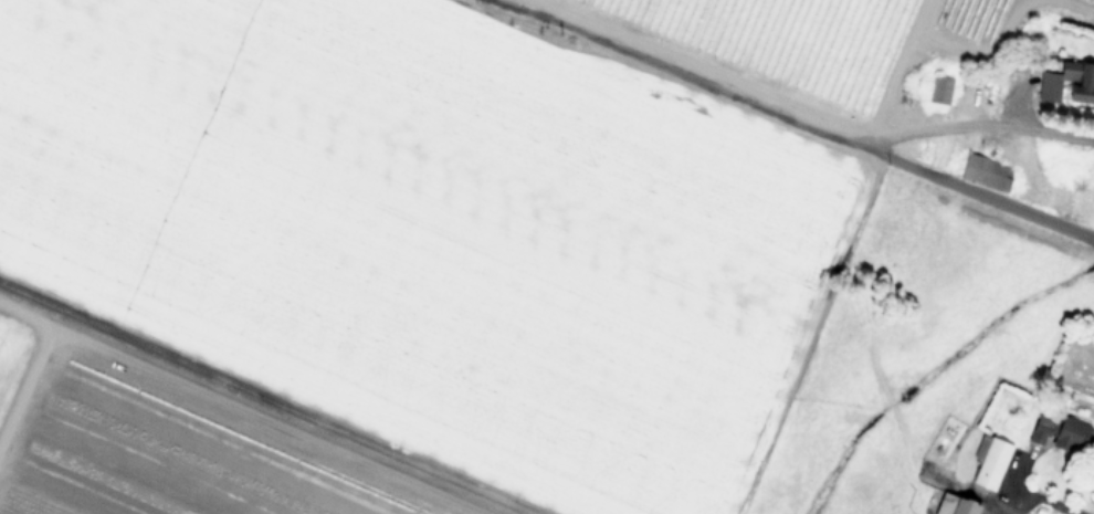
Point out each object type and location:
building: (803, 49)
building: (1067, 84)
building: (939, 90)
road: (789, 106)
building: (979, 171)
road: (967, 185)
crop: (544, 255)
road: (267, 399)
building: (1059, 432)
building: (944, 439)
building: (990, 462)
road: (1049, 500)
building: (954, 504)

